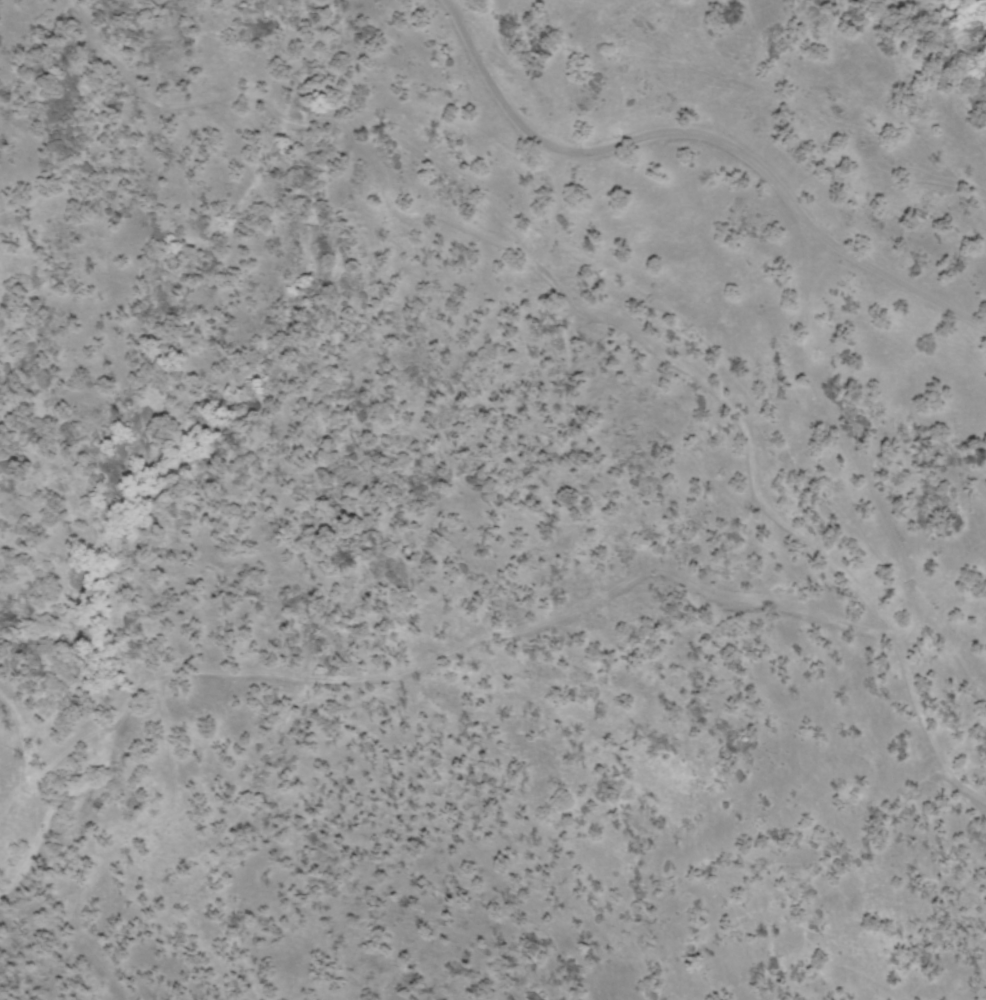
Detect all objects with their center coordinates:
road: (699, 149)
road: (612, 615)

